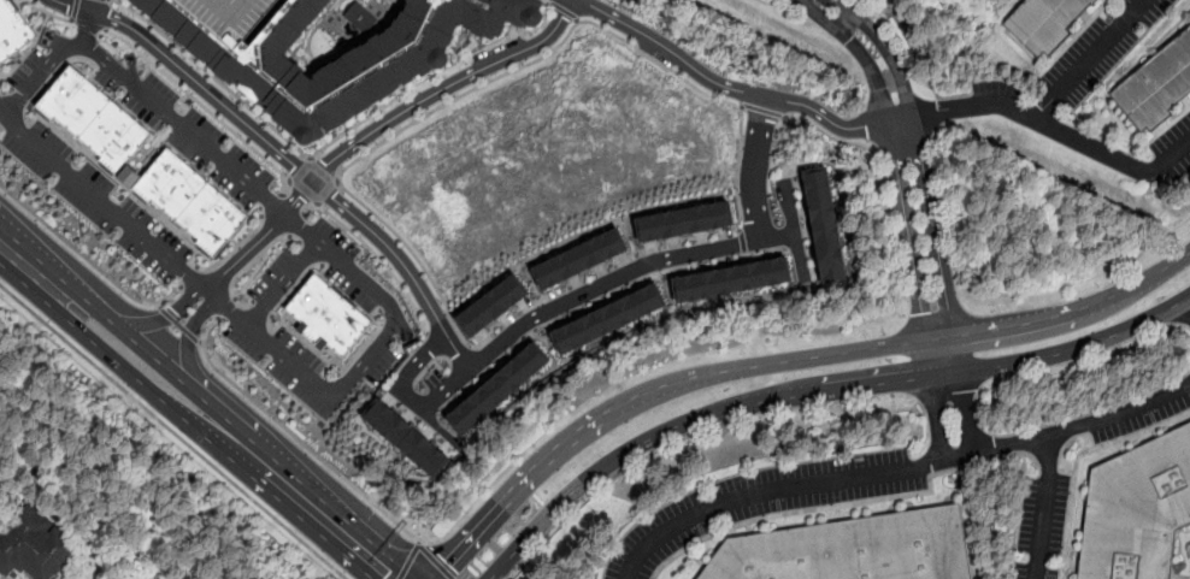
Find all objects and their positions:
road: (119, 1)
road: (564, 11)
parking garage: (225, 17)
building: (1045, 23)
road: (87, 29)
building: (12, 33)
building: (341, 33)
park: (341, 33)
road: (1091, 58)
building: (375, 71)
road: (495, 79)
building: (1156, 83)
road: (731, 87)
road: (968, 106)
road: (764, 111)
building: (92, 123)
road: (201, 141)
road: (334, 141)
road: (342, 152)
road: (285, 156)
road: (1114, 158)
road: (753, 169)
road: (908, 171)
road: (102, 202)
building: (188, 205)
building: (682, 221)
road: (299, 223)
building: (821, 224)
road: (794, 230)
road: (741, 238)
road: (377, 256)
building: (576, 259)
road: (87, 260)
road: (24, 267)
road: (245, 267)
road: (189, 276)
road: (282, 280)
building: (727, 280)
road: (1189, 299)
building: (490, 306)
road: (225, 307)
road: (260, 307)
road: (228, 308)
road: (543, 312)
building: (326, 318)
building: (605, 319)
road: (179, 325)
road: (979, 331)
road: (142, 348)
road: (128, 368)
building: (495, 390)
road: (817, 391)
road: (329, 396)
road: (952, 415)
road: (1076, 427)
road: (172, 432)
road: (569, 433)
road: (296, 437)
building: (405, 439)
road: (1076, 456)
road: (777, 488)
road: (308, 503)
road: (833, 506)
road: (1045, 508)
building: (1139, 512)
building: (35, 545)
building: (850, 549)
traffic signals: (443, 560)
road: (410, 561)
road: (436, 561)
traffic signals: (388, 574)
road: (1189, 578)

